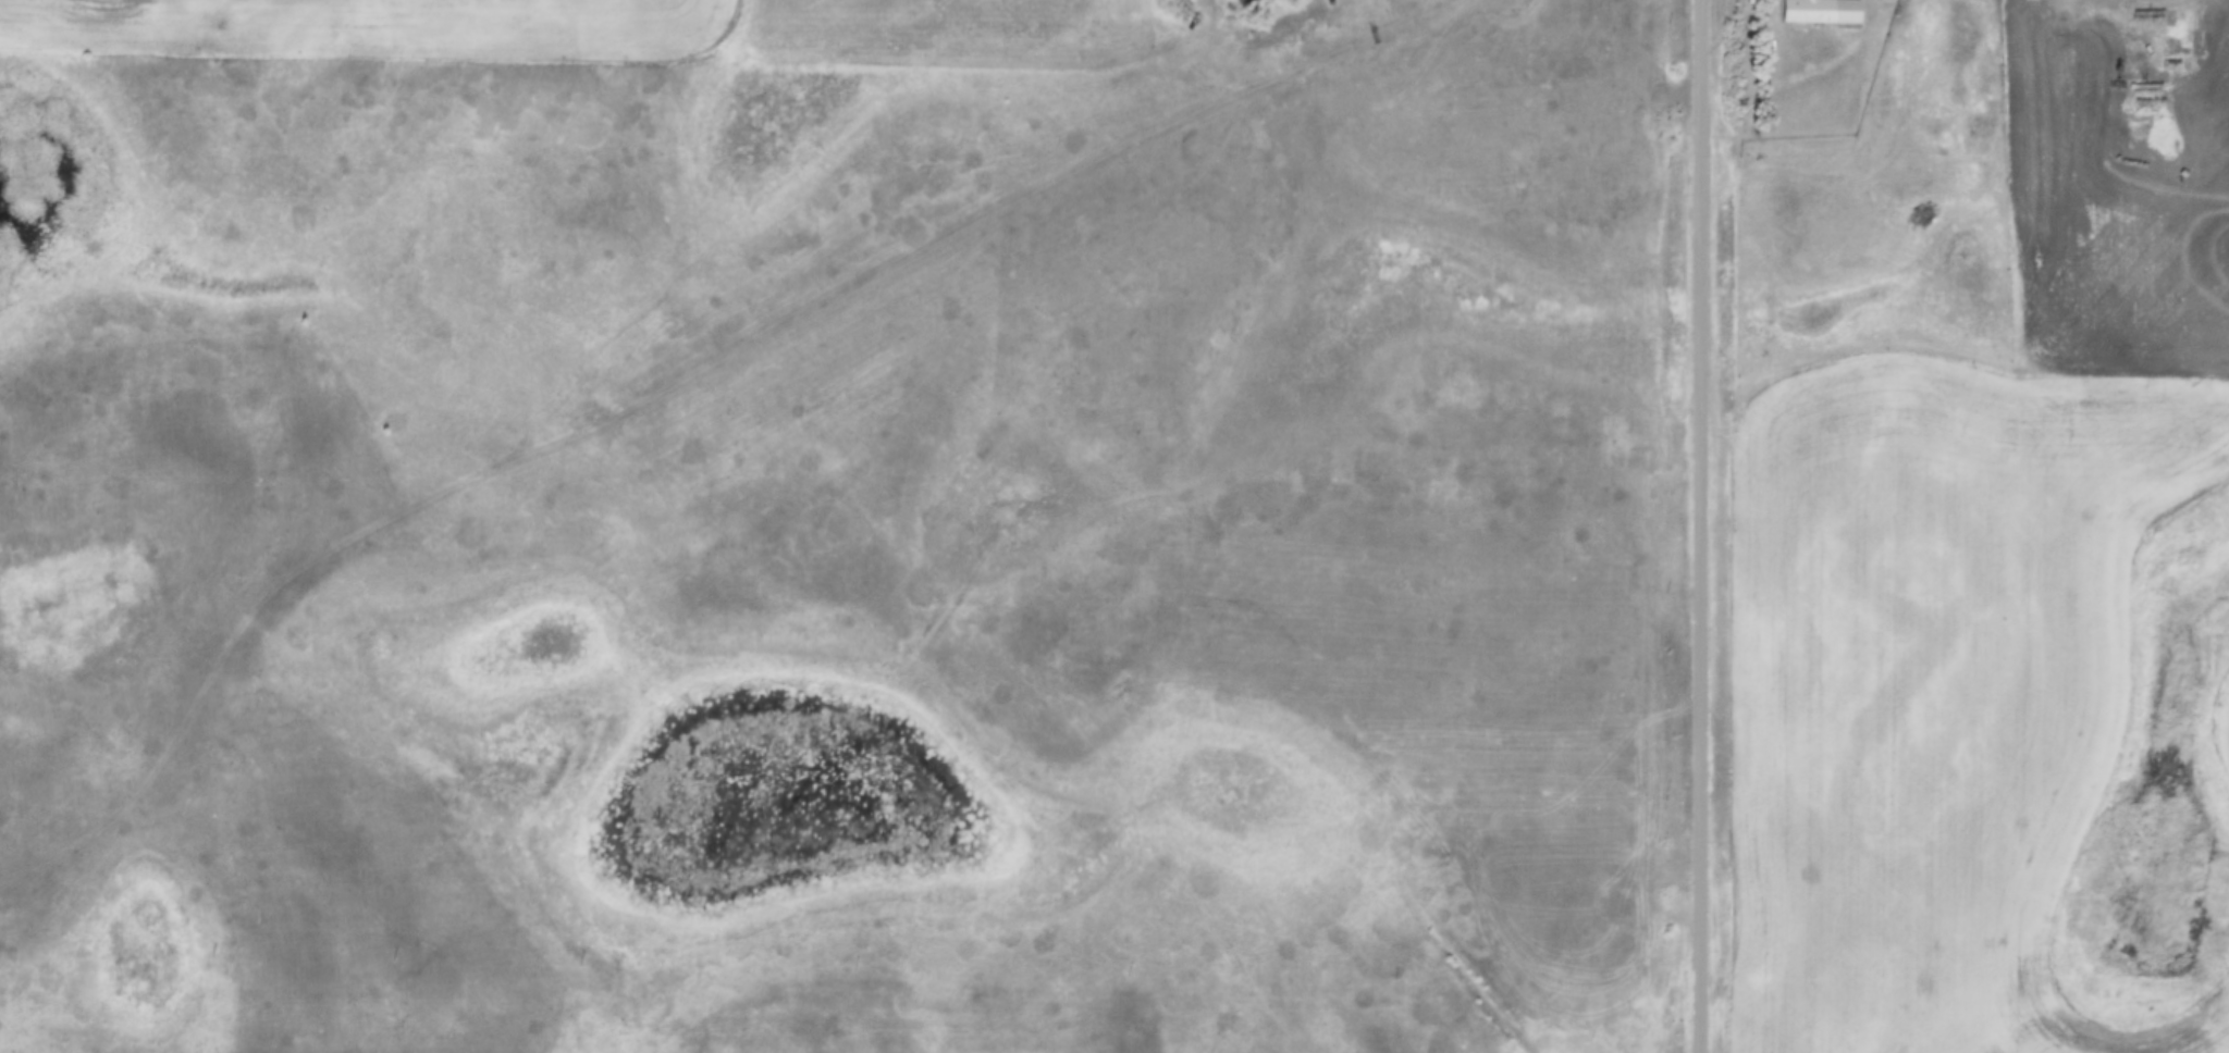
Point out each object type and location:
building: (1808, 13)
road: (1700, 526)

